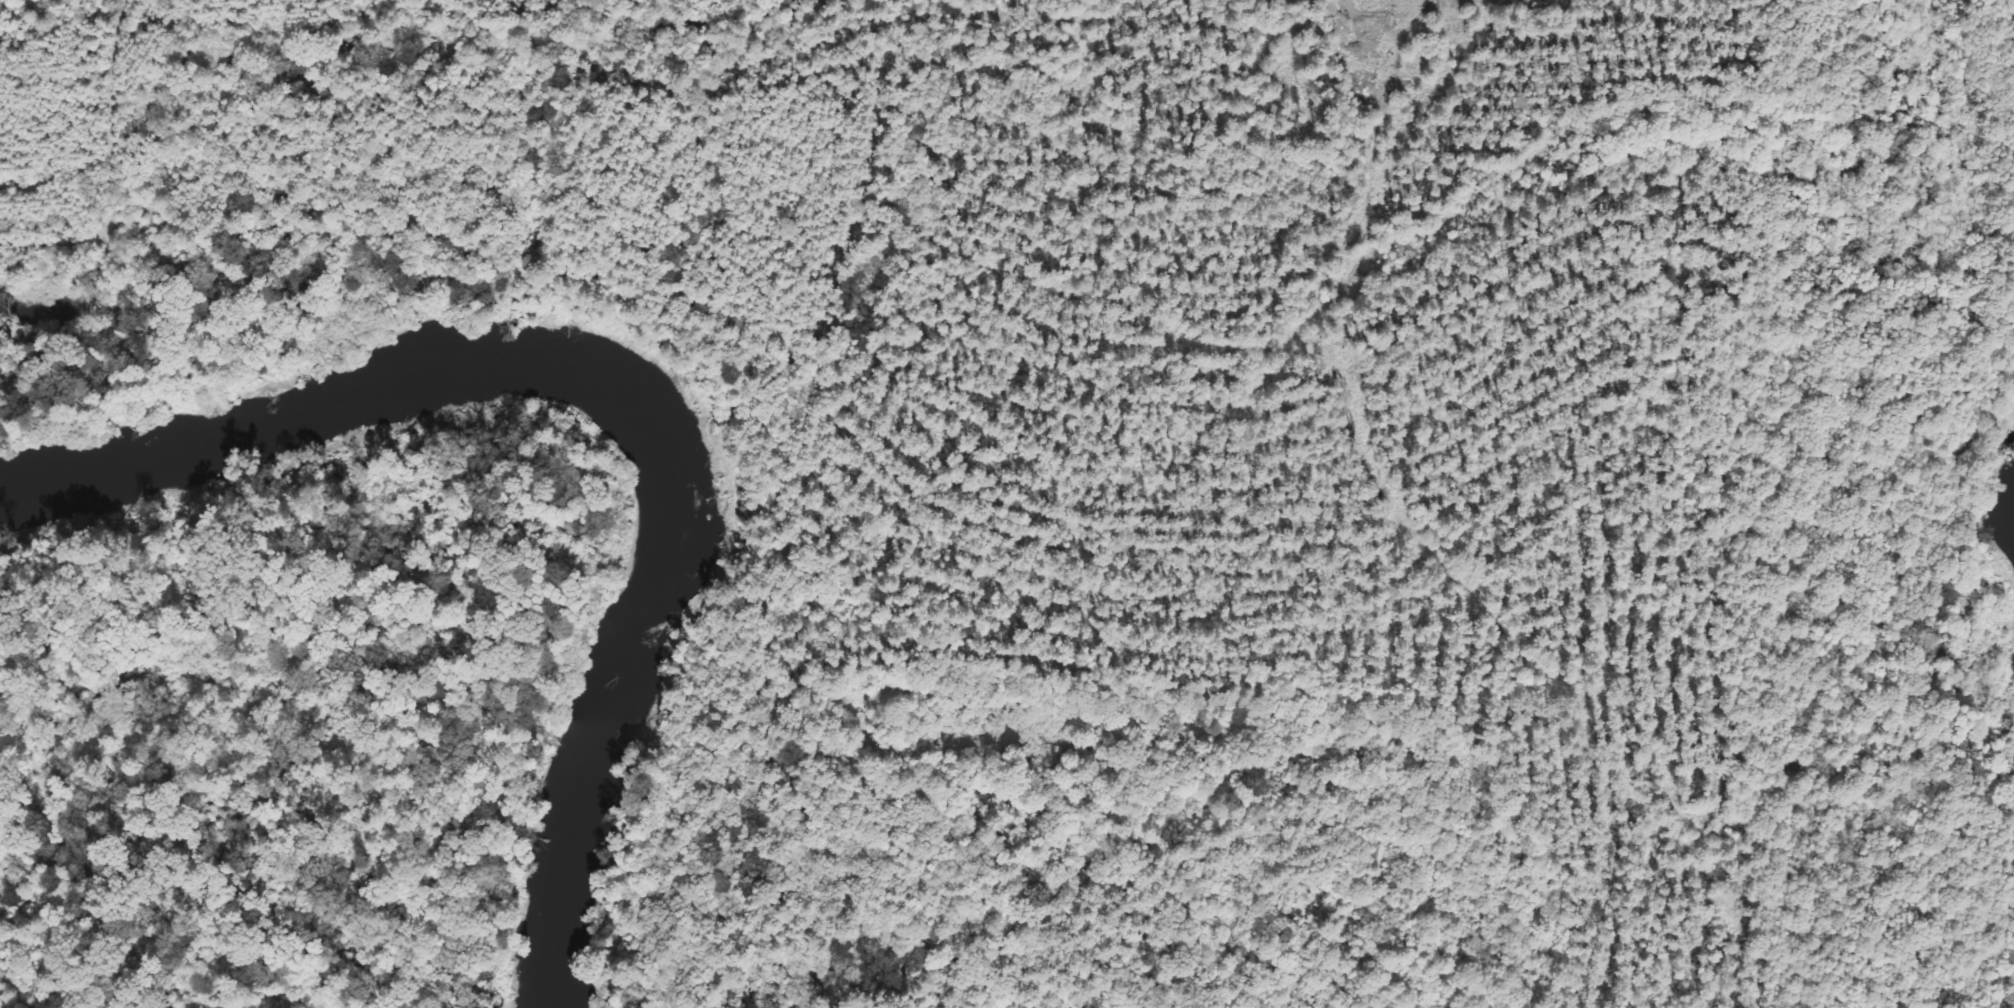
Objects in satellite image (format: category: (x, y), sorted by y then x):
river: (616, 395)

